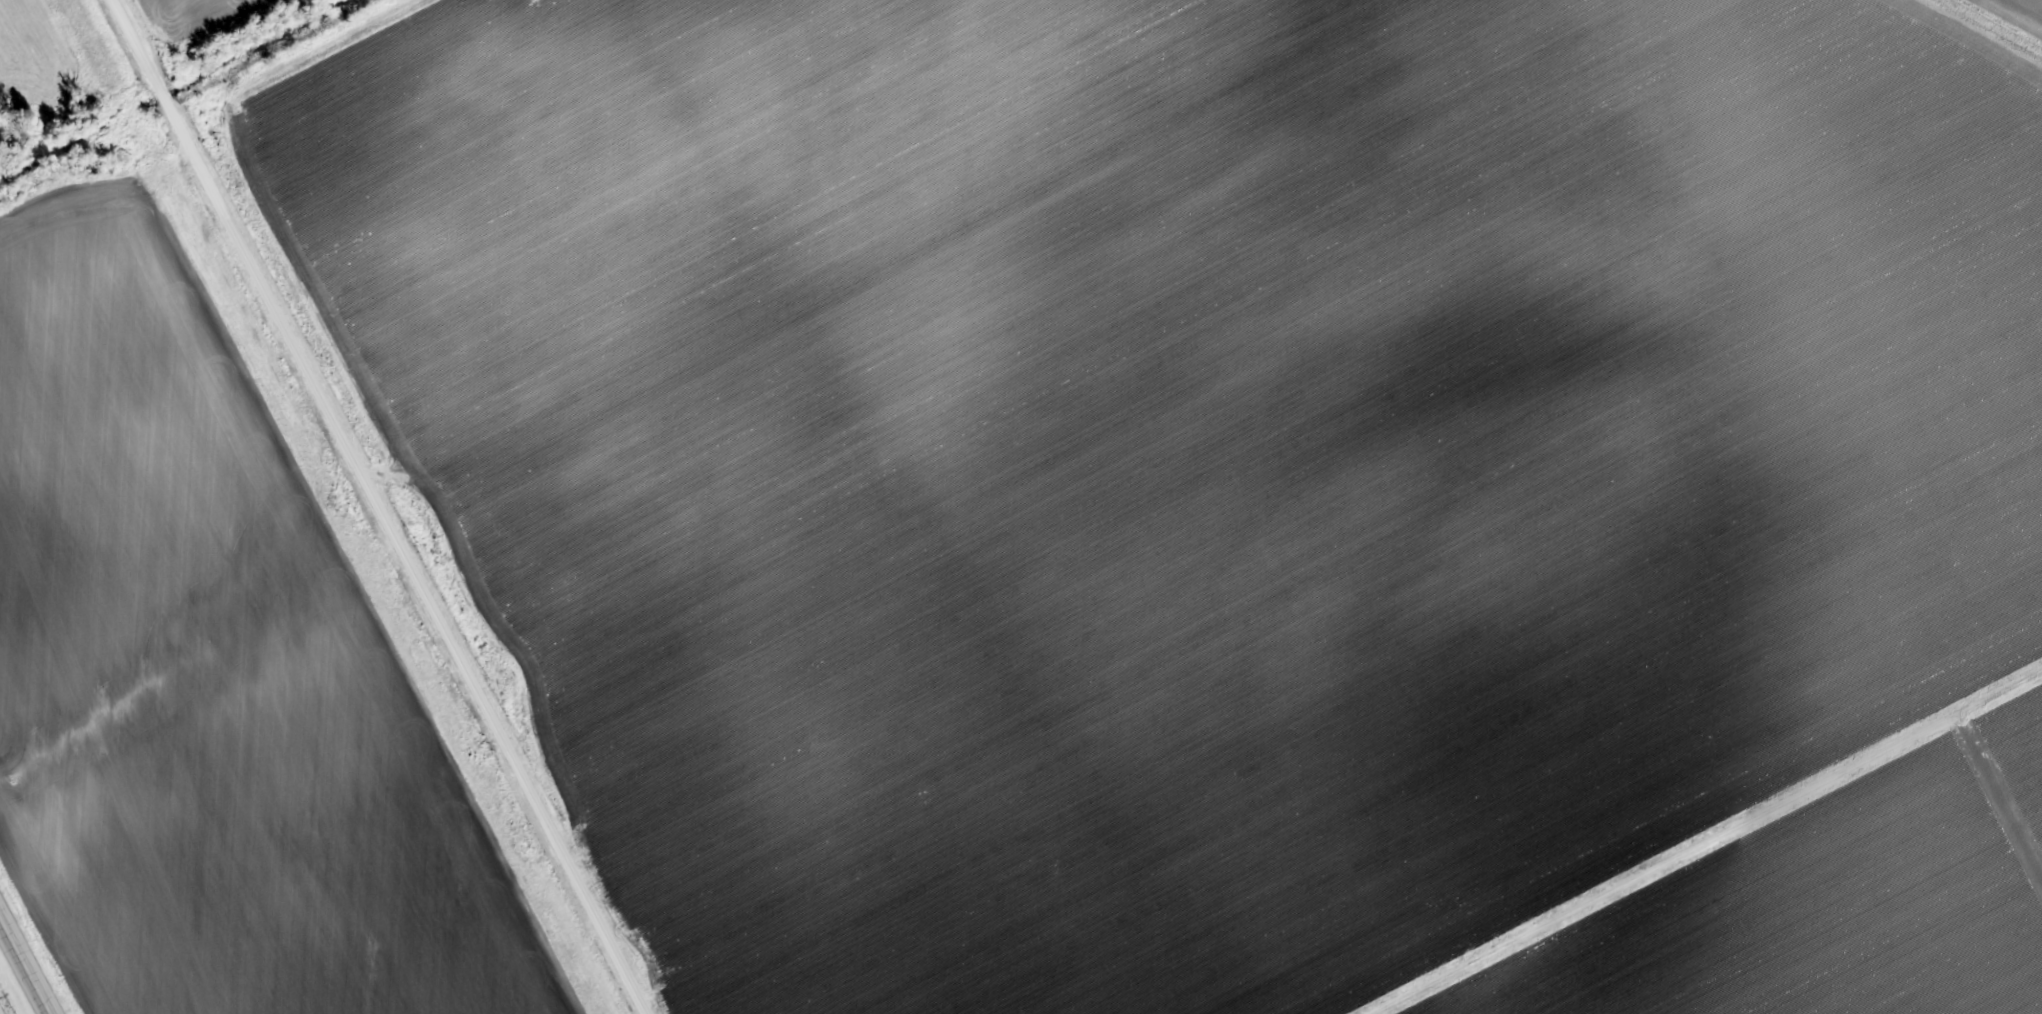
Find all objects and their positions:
railway: (323, 506)
road: (385, 507)
road: (21, 973)

